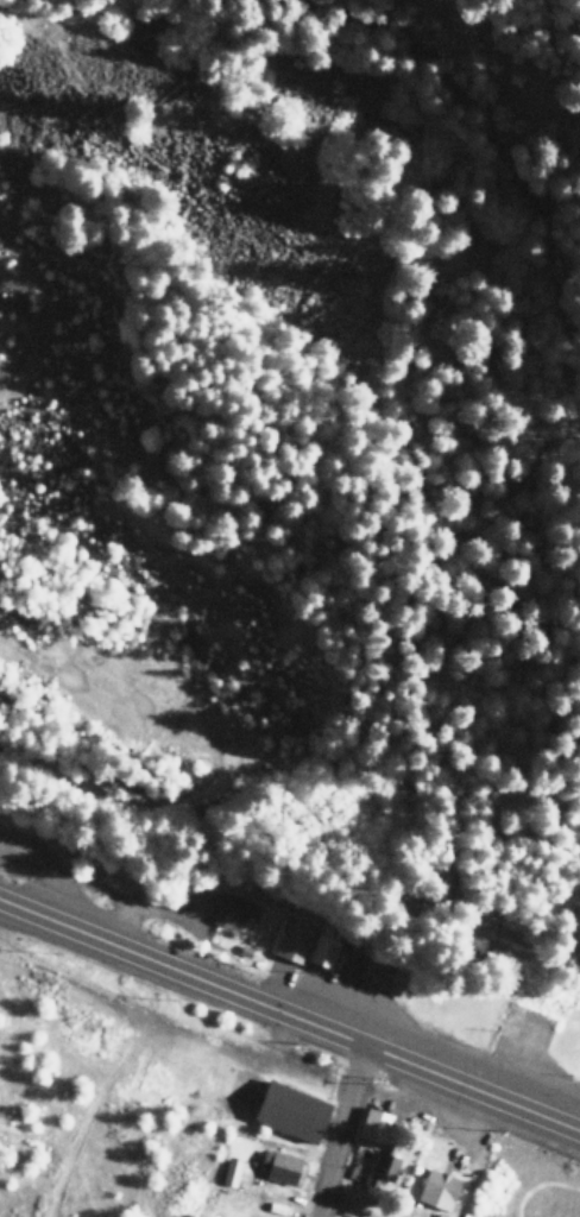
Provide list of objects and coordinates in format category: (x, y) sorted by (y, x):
road: (227, 753)
road: (68, 877)
road: (144, 912)
building: (232, 912)
building: (304, 945)
building: (376, 973)
road: (290, 1020)
building: (290, 1111)
building: (376, 1127)
road: (341, 1134)
building: (279, 1166)
building: (383, 1166)
building: (229, 1172)
building: (437, 1188)

